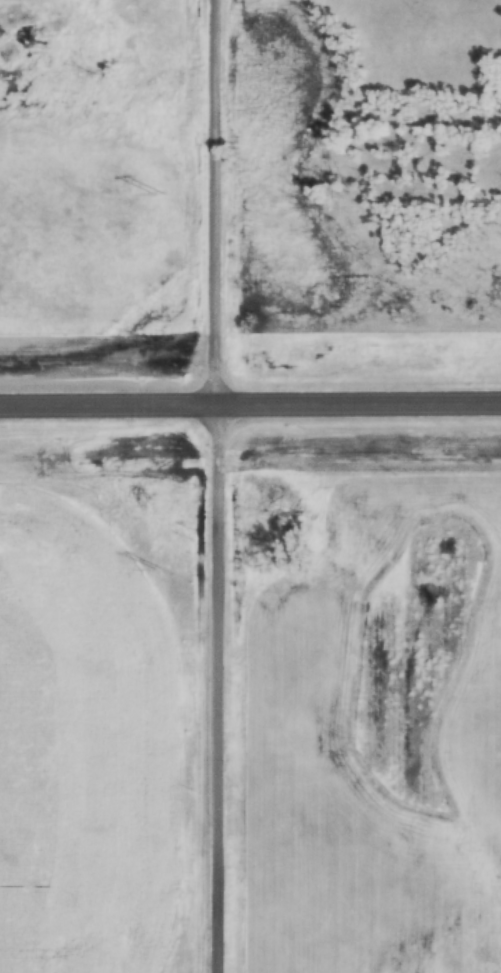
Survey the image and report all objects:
power tower: (159, 92)
road: (250, 386)
road: (194, 486)
power tower: (160, 578)

